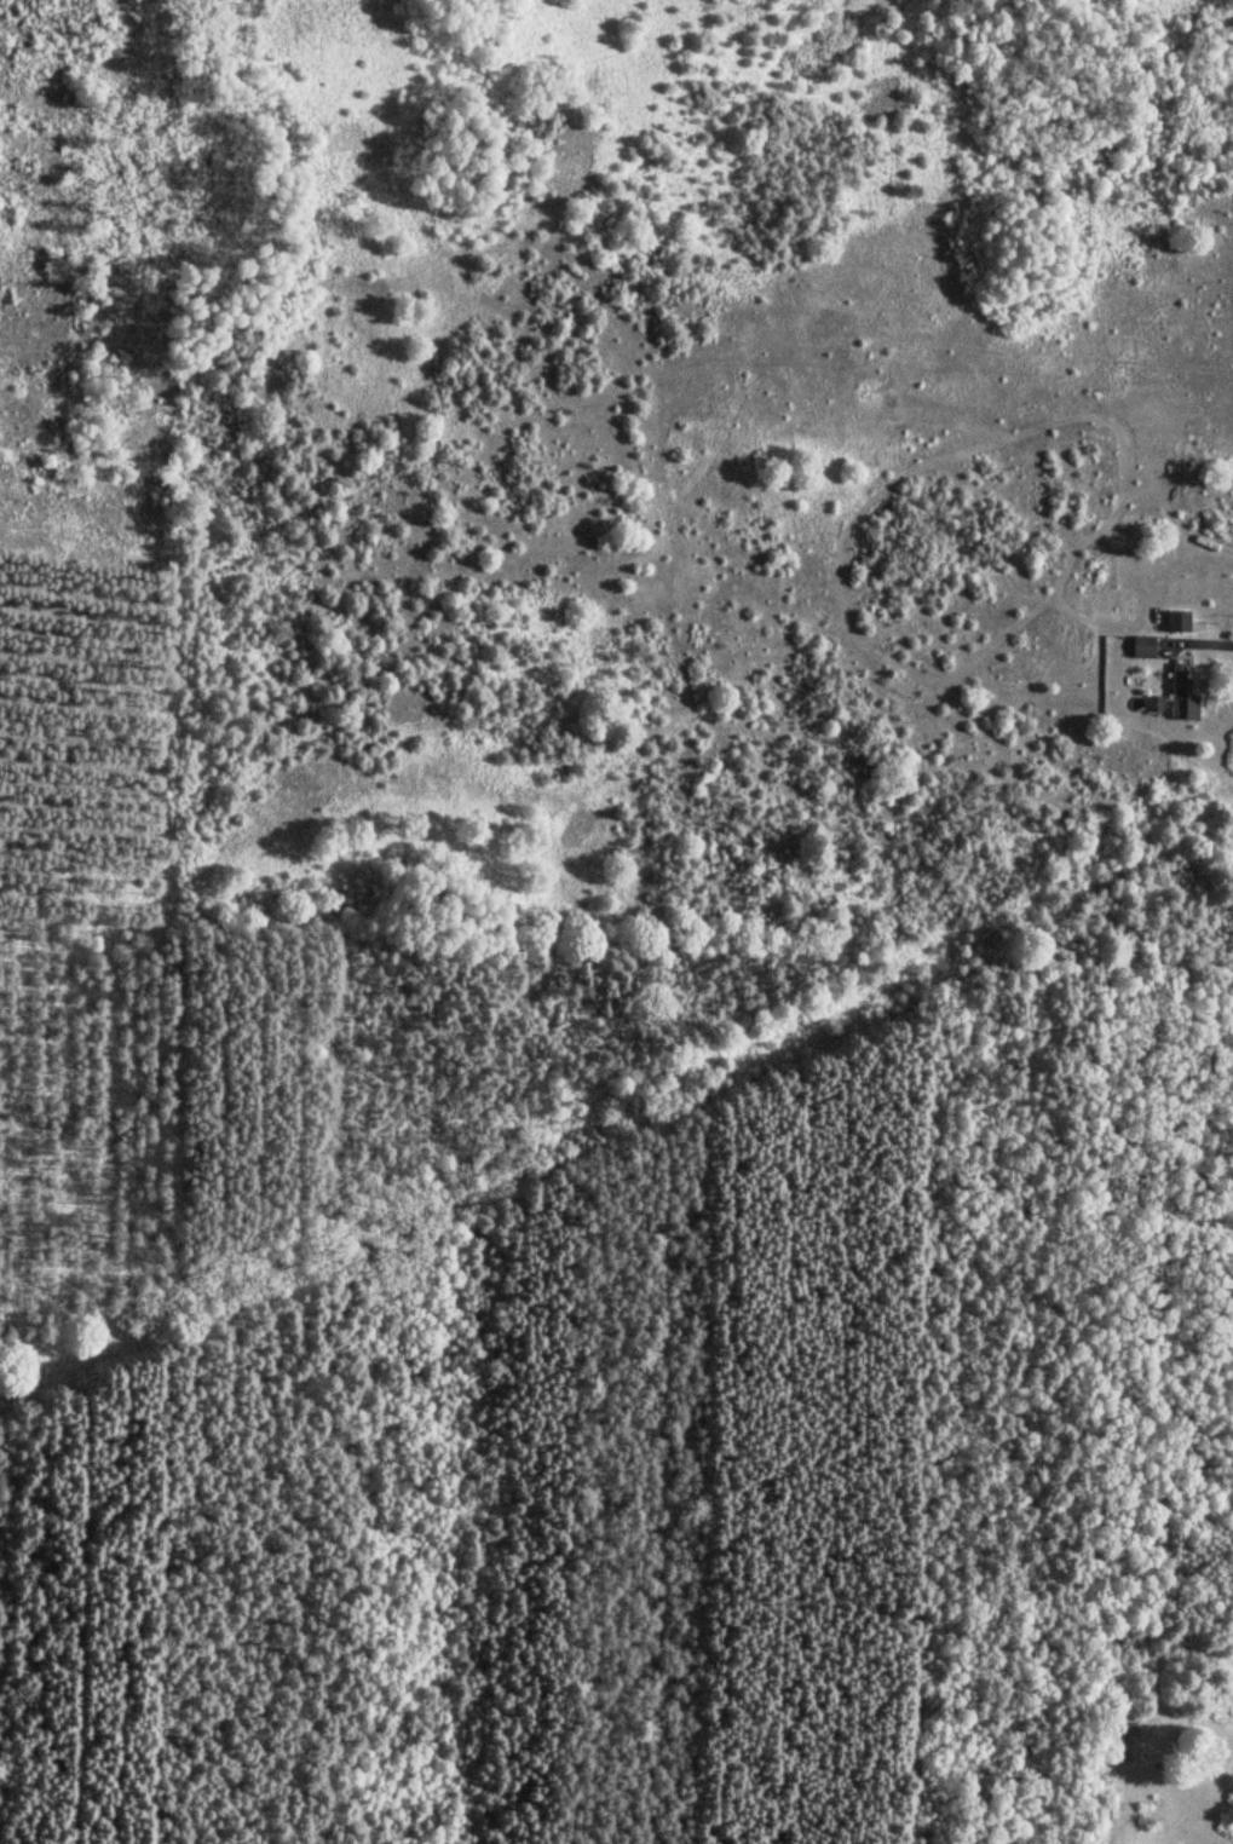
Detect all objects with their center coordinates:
building: (1174, 621)
building: (1141, 646)
building: (1181, 693)

